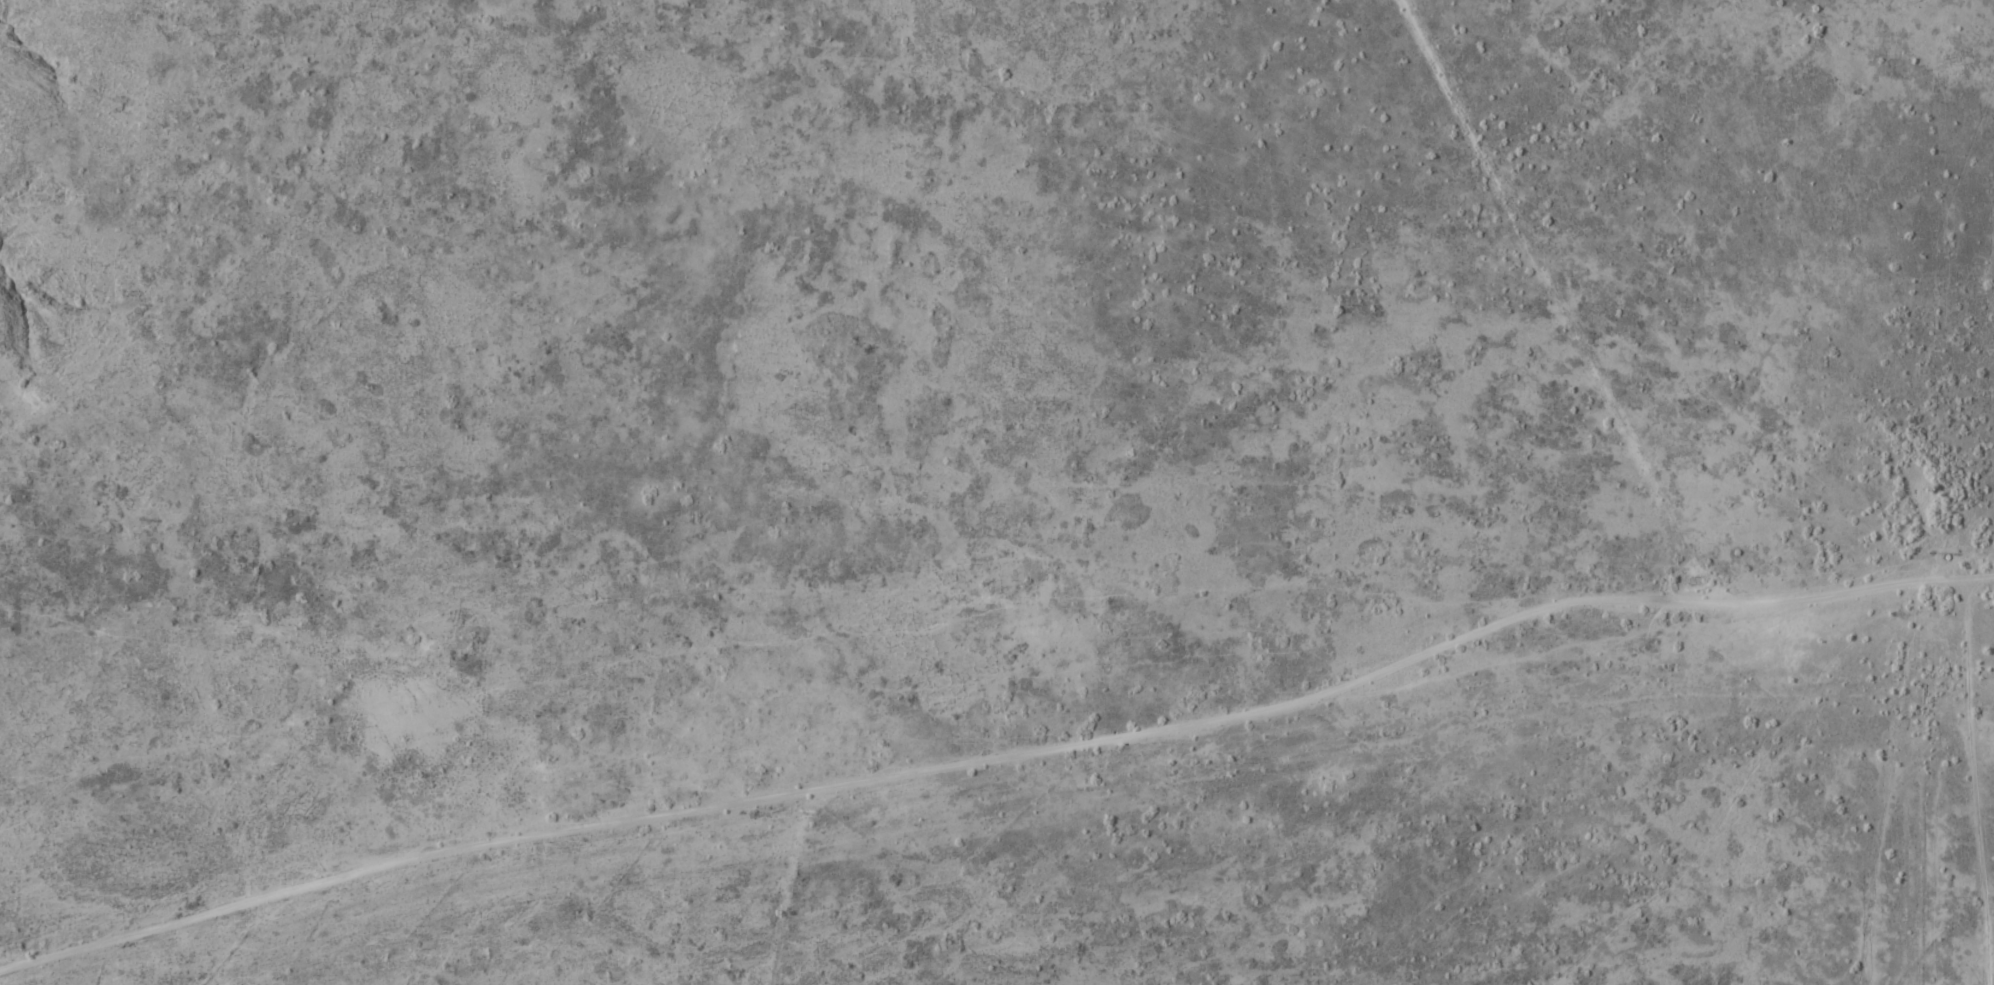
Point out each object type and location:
road: (1039, 736)

